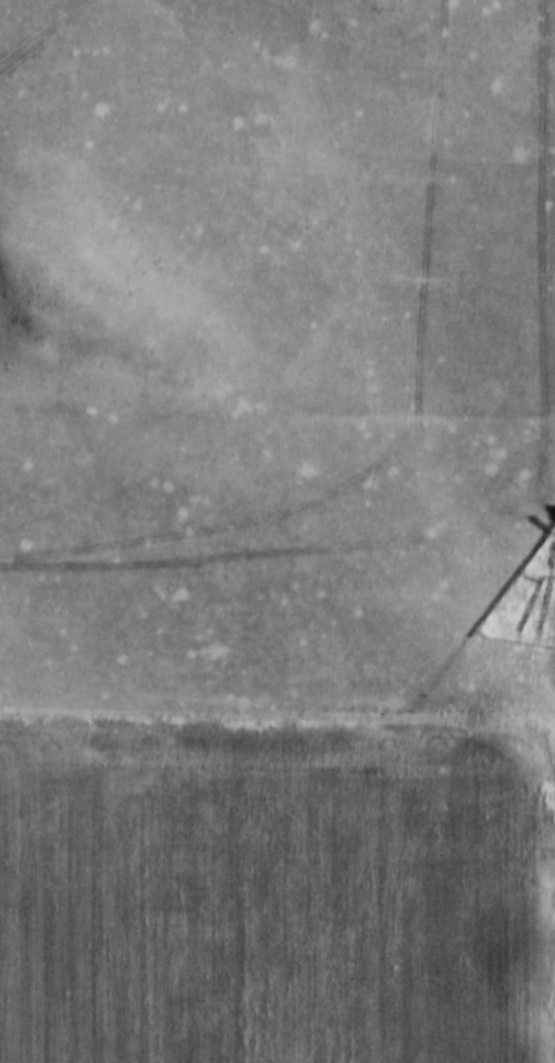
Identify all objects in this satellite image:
road: (53, 40)

